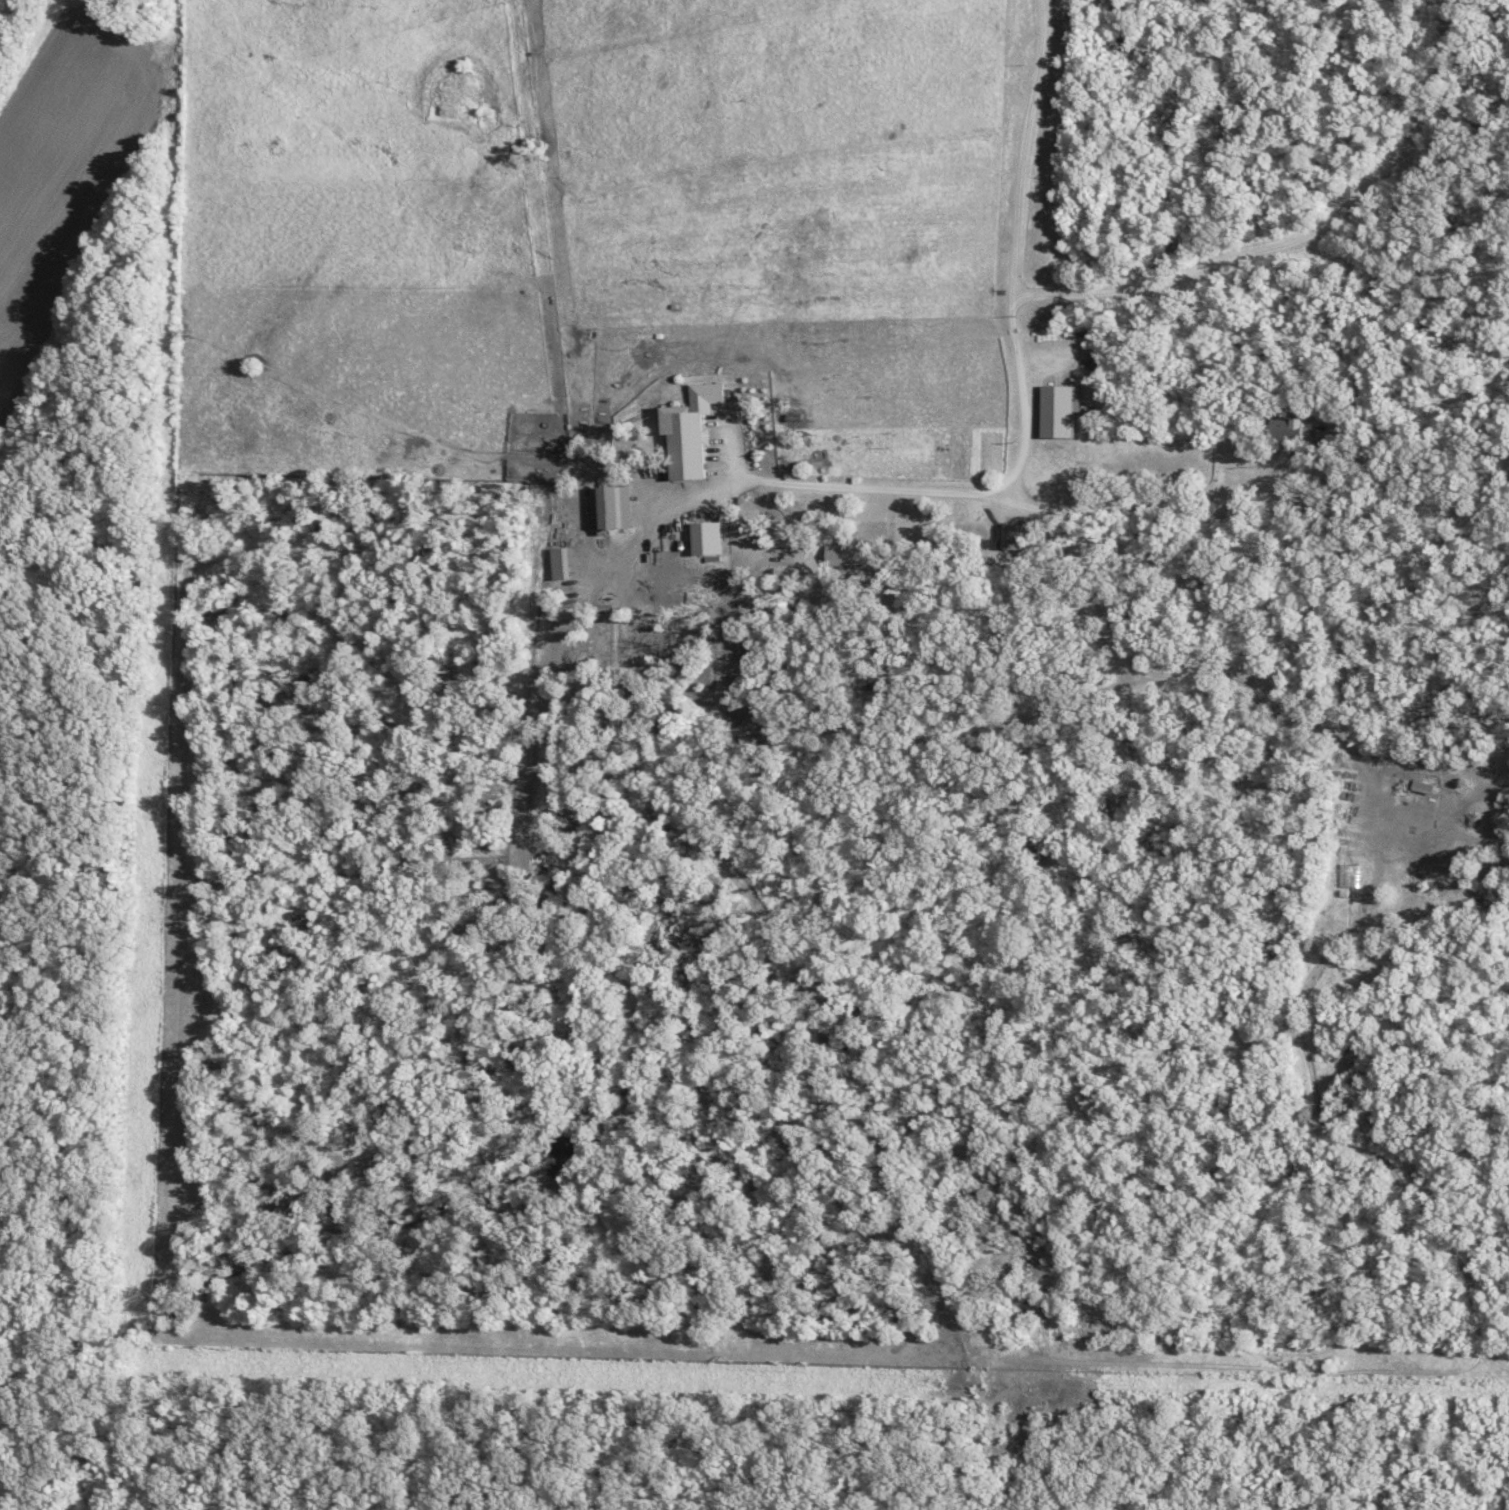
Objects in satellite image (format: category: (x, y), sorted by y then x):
road: (1024, 397)
building: (1055, 410)
building: (1285, 424)
building: (697, 440)
road: (873, 487)
building: (1009, 535)
building: (711, 538)
building: (799, 556)
building: (1422, 786)
building: (1350, 874)
road: (159, 1347)

